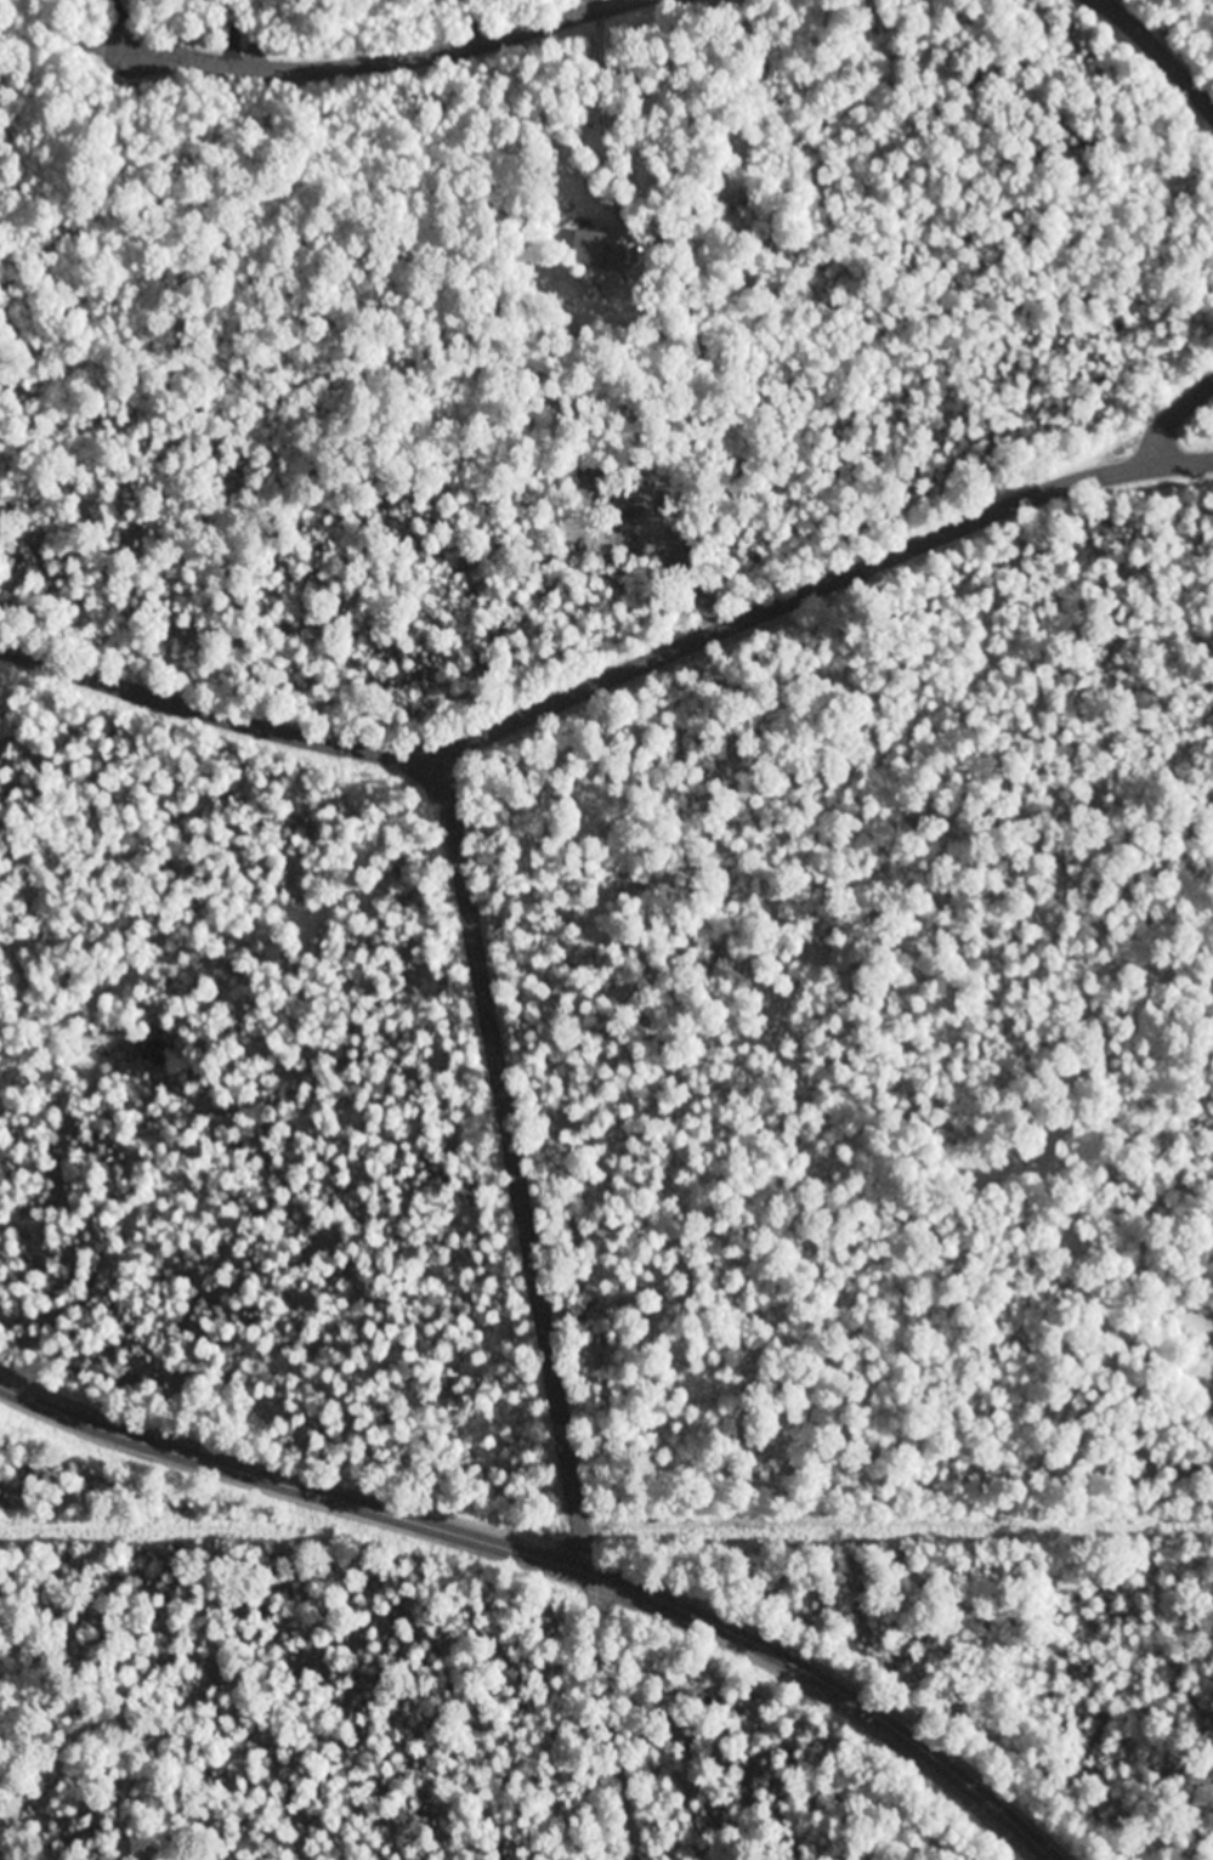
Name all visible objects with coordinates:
road: (1171, 45)
road: (367, 53)
road: (1195, 402)
road: (627, 667)
road: (555, 1298)
road: (899, 1513)
road: (567, 1552)

